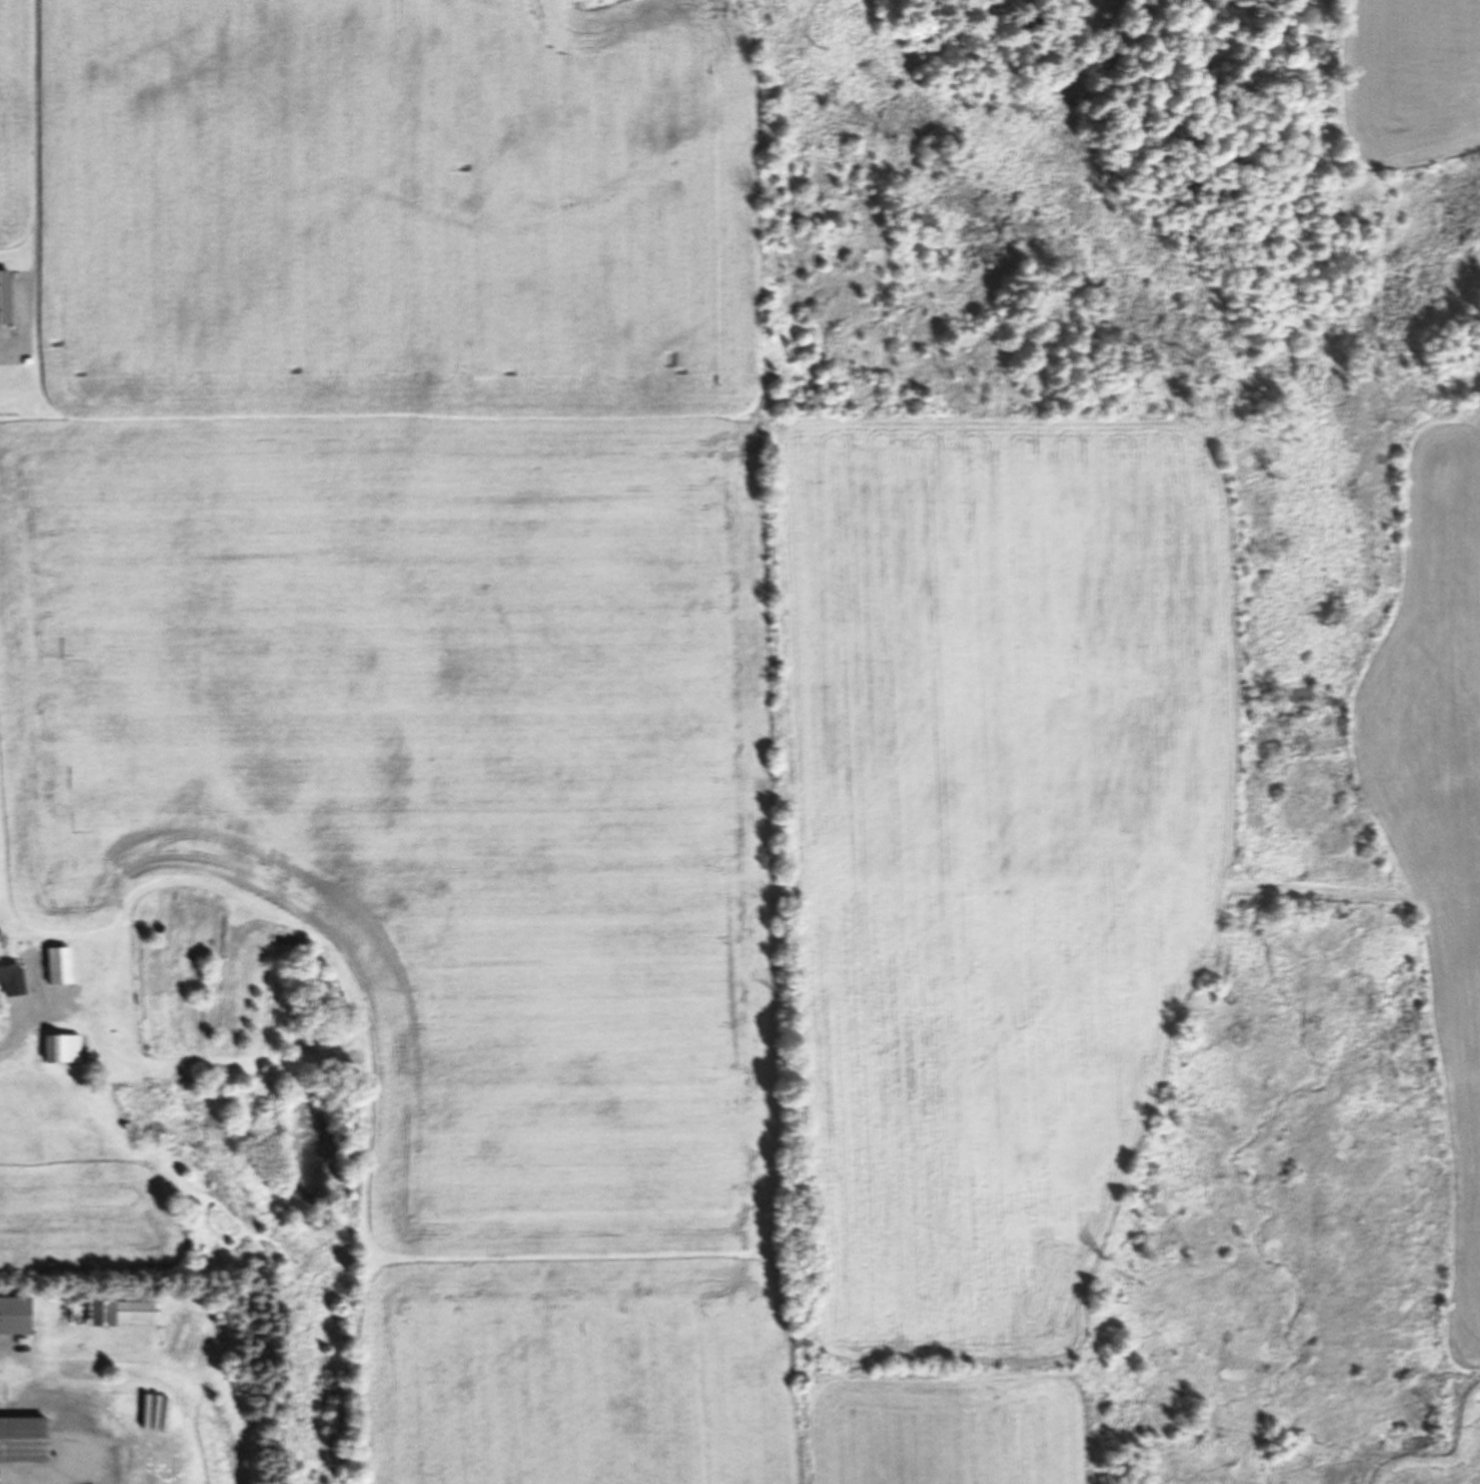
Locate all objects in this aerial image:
road: (29, 173)
building: (3, 295)
road: (14, 348)
building: (54, 965)
building: (8, 978)
building: (58, 1047)
building: (114, 1311)
building: (12, 1315)
building: (20, 1439)

